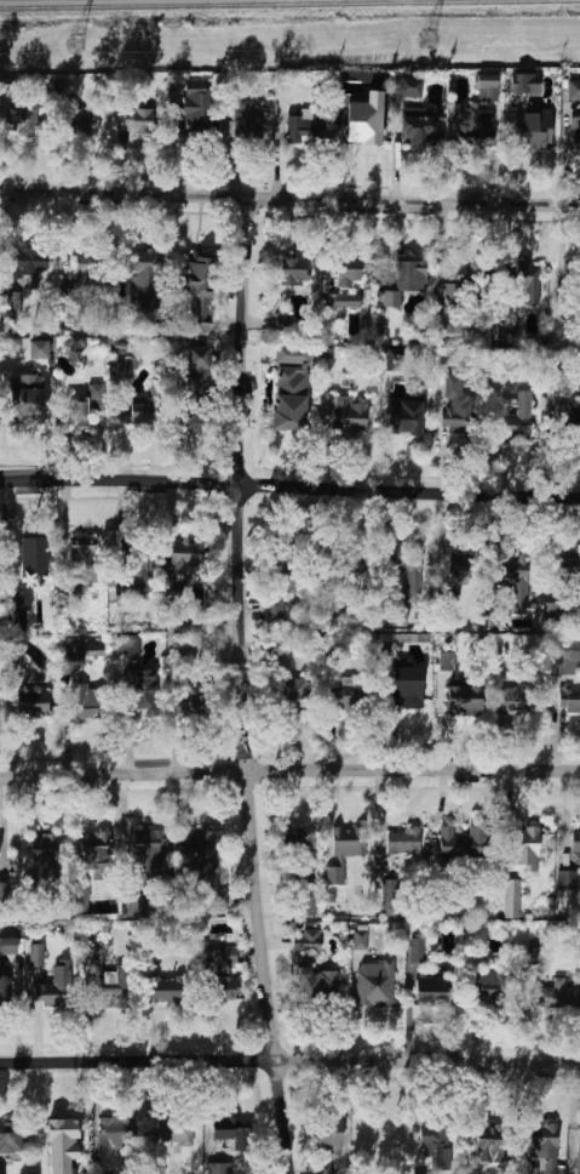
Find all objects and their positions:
railway: (289, 5)
power tower: (429, 42)
power tower: (75, 45)
building: (526, 82)
building: (410, 86)
building: (487, 87)
building: (574, 90)
building: (195, 108)
building: (22, 118)
building: (364, 120)
building: (242, 121)
building: (79, 122)
building: (137, 125)
building: (419, 126)
building: (475, 126)
building: (305, 130)
building: (536, 130)
building: (575, 133)
road: (289, 198)
building: (28, 263)
building: (294, 269)
building: (349, 272)
building: (409, 273)
building: (453, 277)
building: (143, 280)
building: (527, 280)
building: (199, 292)
building: (345, 301)
building: (15, 304)
building: (283, 324)
building: (449, 331)
building: (39, 349)
building: (394, 359)
building: (125, 367)
building: (197, 367)
building: (291, 388)
building: (97, 395)
building: (27, 399)
building: (456, 403)
building: (75, 409)
building: (565, 411)
building: (184, 412)
building: (406, 412)
building: (138, 414)
building: (345, 415)
building: (517, 420)
road: (50, 424)
road: (289, 488)
building: (33, 555)
building: (84, 558)
building: (341, 562)
building: (459, 563)
building: (564, 564)
building: (180, 565)
building: (292, 566)
building: (137, 572)
building: (408, 574)
building: (515, 579)
building: (71, 593)
building: (449, 593)
building: (22, 603)
building: (276, 609)
building: (552, 611)
building: (394, 617)
building: (130, 644)
building: (94, 650)
building: (75, 652)
building: (567, 656)
building: (448, 661)
road: (245, 685)
building: (408, 688)
building: (294, 690)
building: (512, 694)
building: (348, 695)
building: (145, 696)
building: (194, 699)
building: (569, 699)
building: (464, 700)
building: (88, 701)
building: (33, 702)
road: (289, 771)
road: (379, 823)
building: (403, 843)
building: (464, 843)
building: (576, 843)
building: (298, 844)
building: (346, 848)
building: (526, 849)
building: (45, 850)
building: (99, 855)
building: (149, 855)
building: (205, 866)
building: (568, 879)
building: (5, 890)
building: (82, 896)
building: (390, 896)
building: (512, 897)
building: (308, 900)
building: (138, 907)
building: (94, 936)
building: (360, 938)
building: (308, 940)
building: (8, 941)
building: (418, 950)
building: (36, 956)
building: (535, 956)
building: (213, 970)
building: (375, 982)
building: (56, 986)
building: (492, 986)
building: (110, 987)
building: (165, 990)
building: (316, 990)
building: (431, 991)
building: (549, 996)
road: (86, 1004)
road: (289, 1059)
building: (230, 1132)
building: (176, 1133)
building: (115, 1135)
building: (11, 1138)
building: (329, 1138)
building: (63, 1144)
building: (436, 1144)
building: (489, 1144)
building: (542, 1147)
building: (578, 1151)
building: (157, 1162)
building: (218, 1168)
building: (325, 1169)

